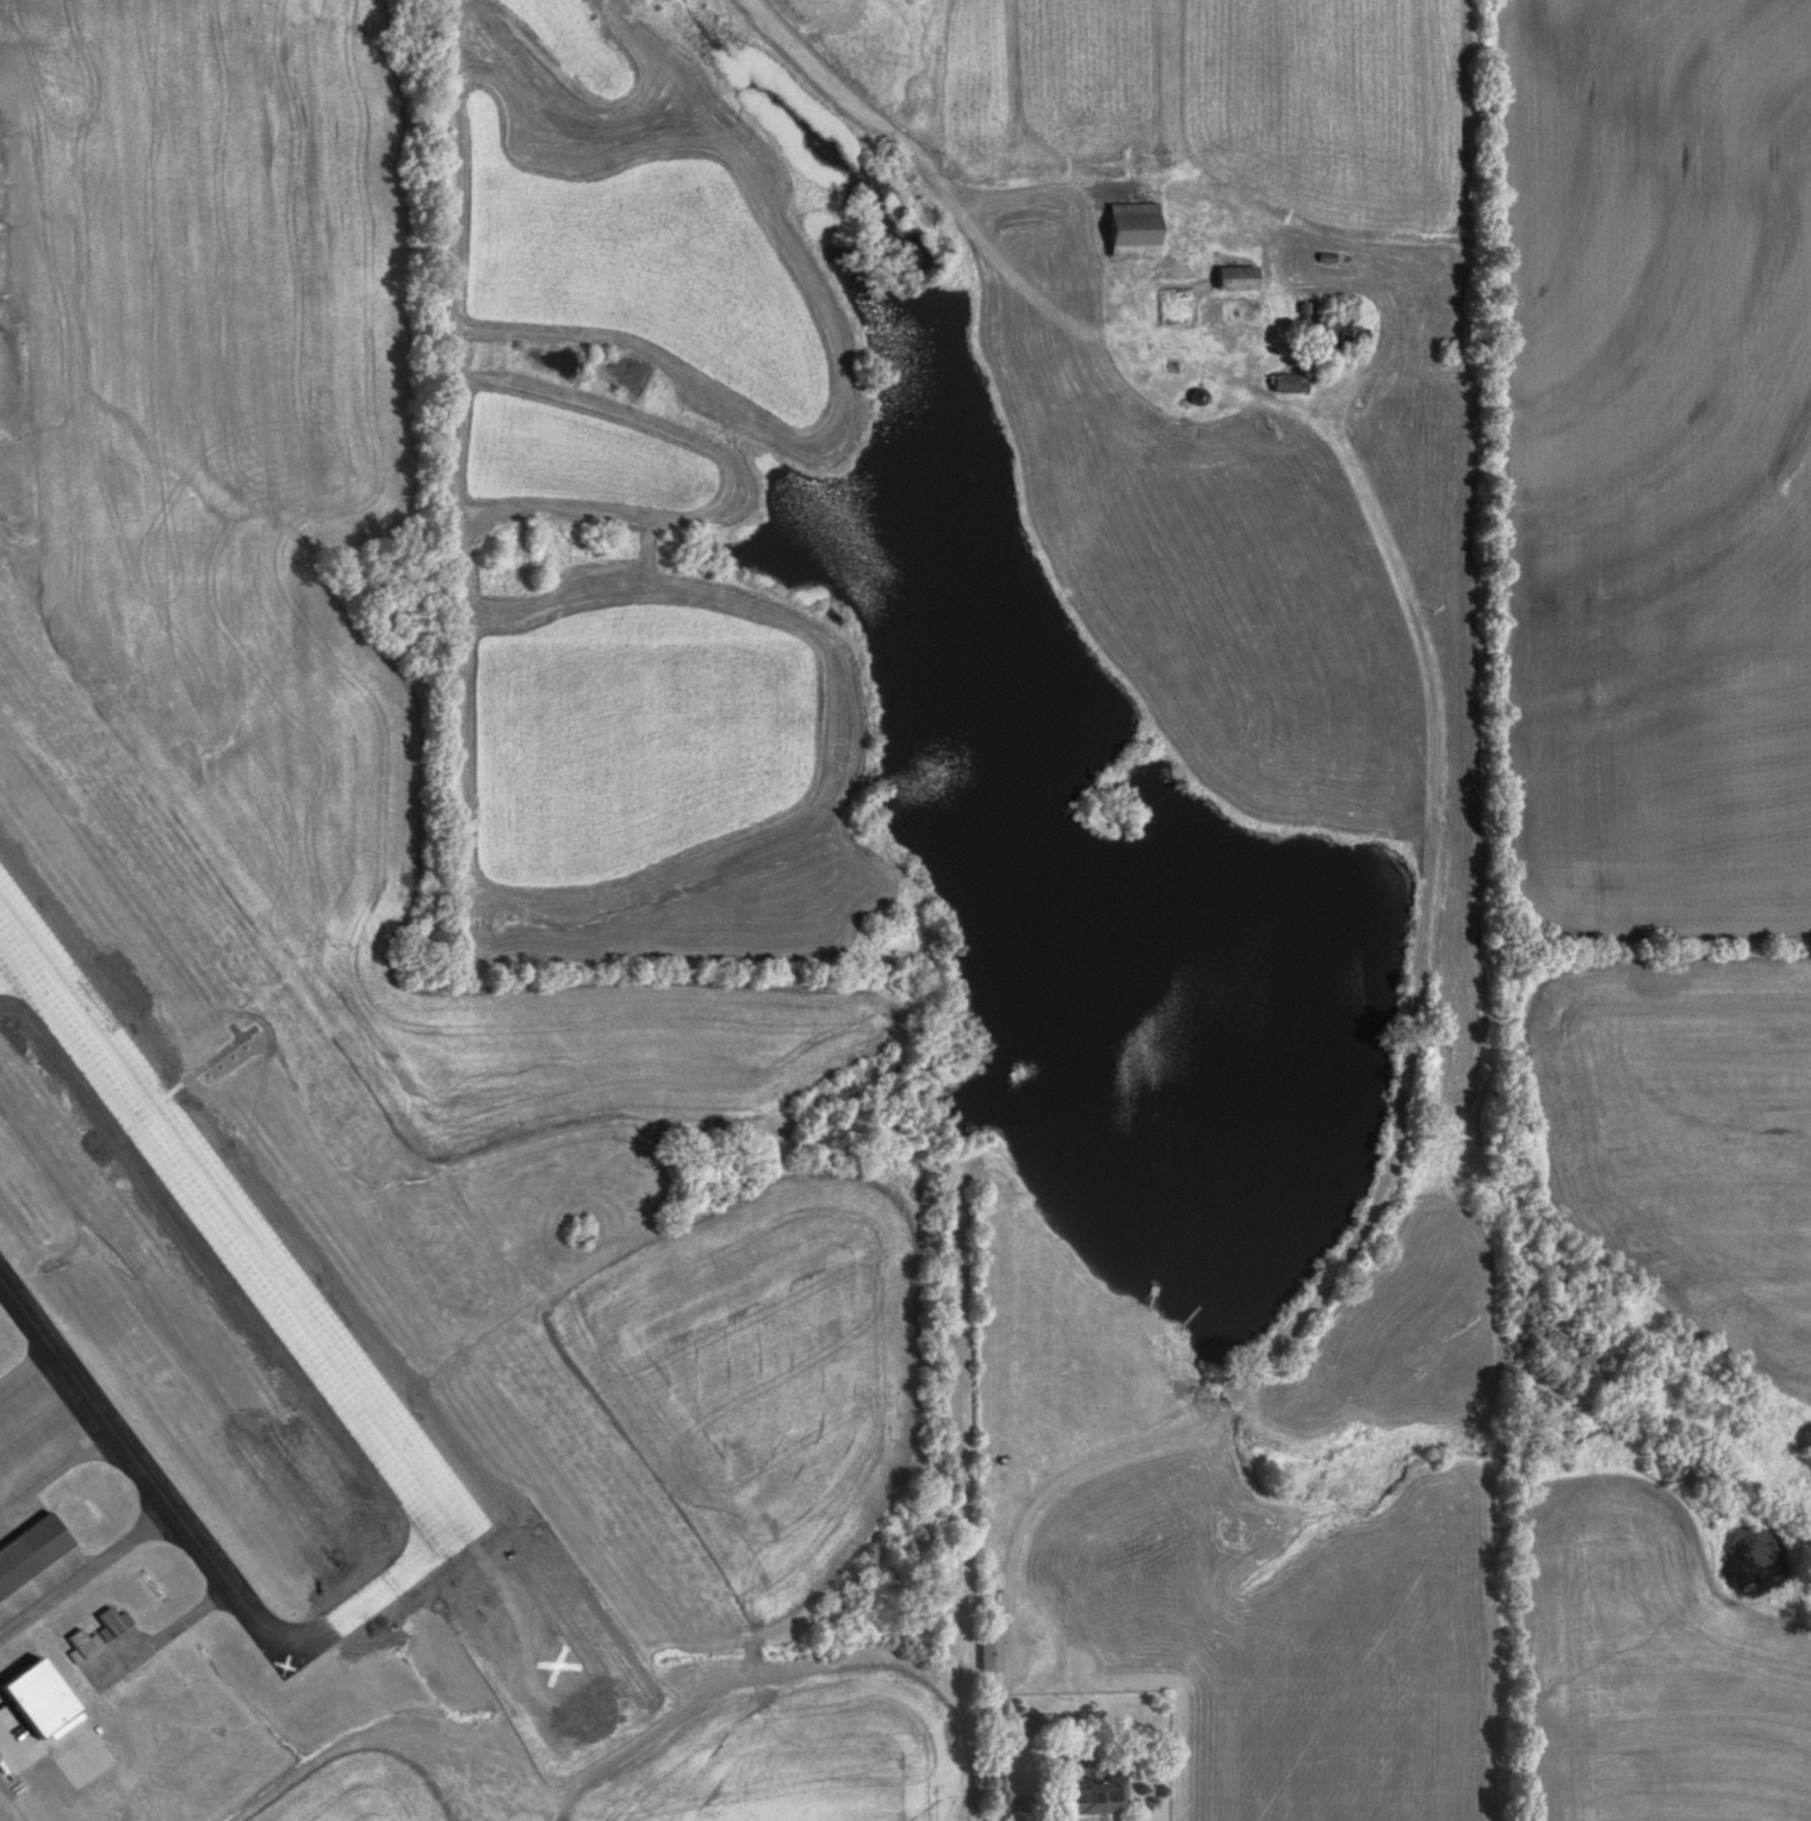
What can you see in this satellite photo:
building: (1133, 228)
building: (1236, 276)
building: (1173, 305)
building: (1344, 329)
building: (1285, 383)
airport taxiway: (12, 958)
road: (1382, 1191)
airport runway: (235, 1230)
airport: (280, 1393)
airport taxiway: (107, 1437)
airport apron: (37, 1441)
building: (27, 1552)
airport taxiway: (204, 1552)
airport taxiway: (88, 1577)
building: (116, 1623)
airport taxiway: (167, 1640)
building: (85, 1649)
building: (988, 1653)
building: (1092, 1795)

